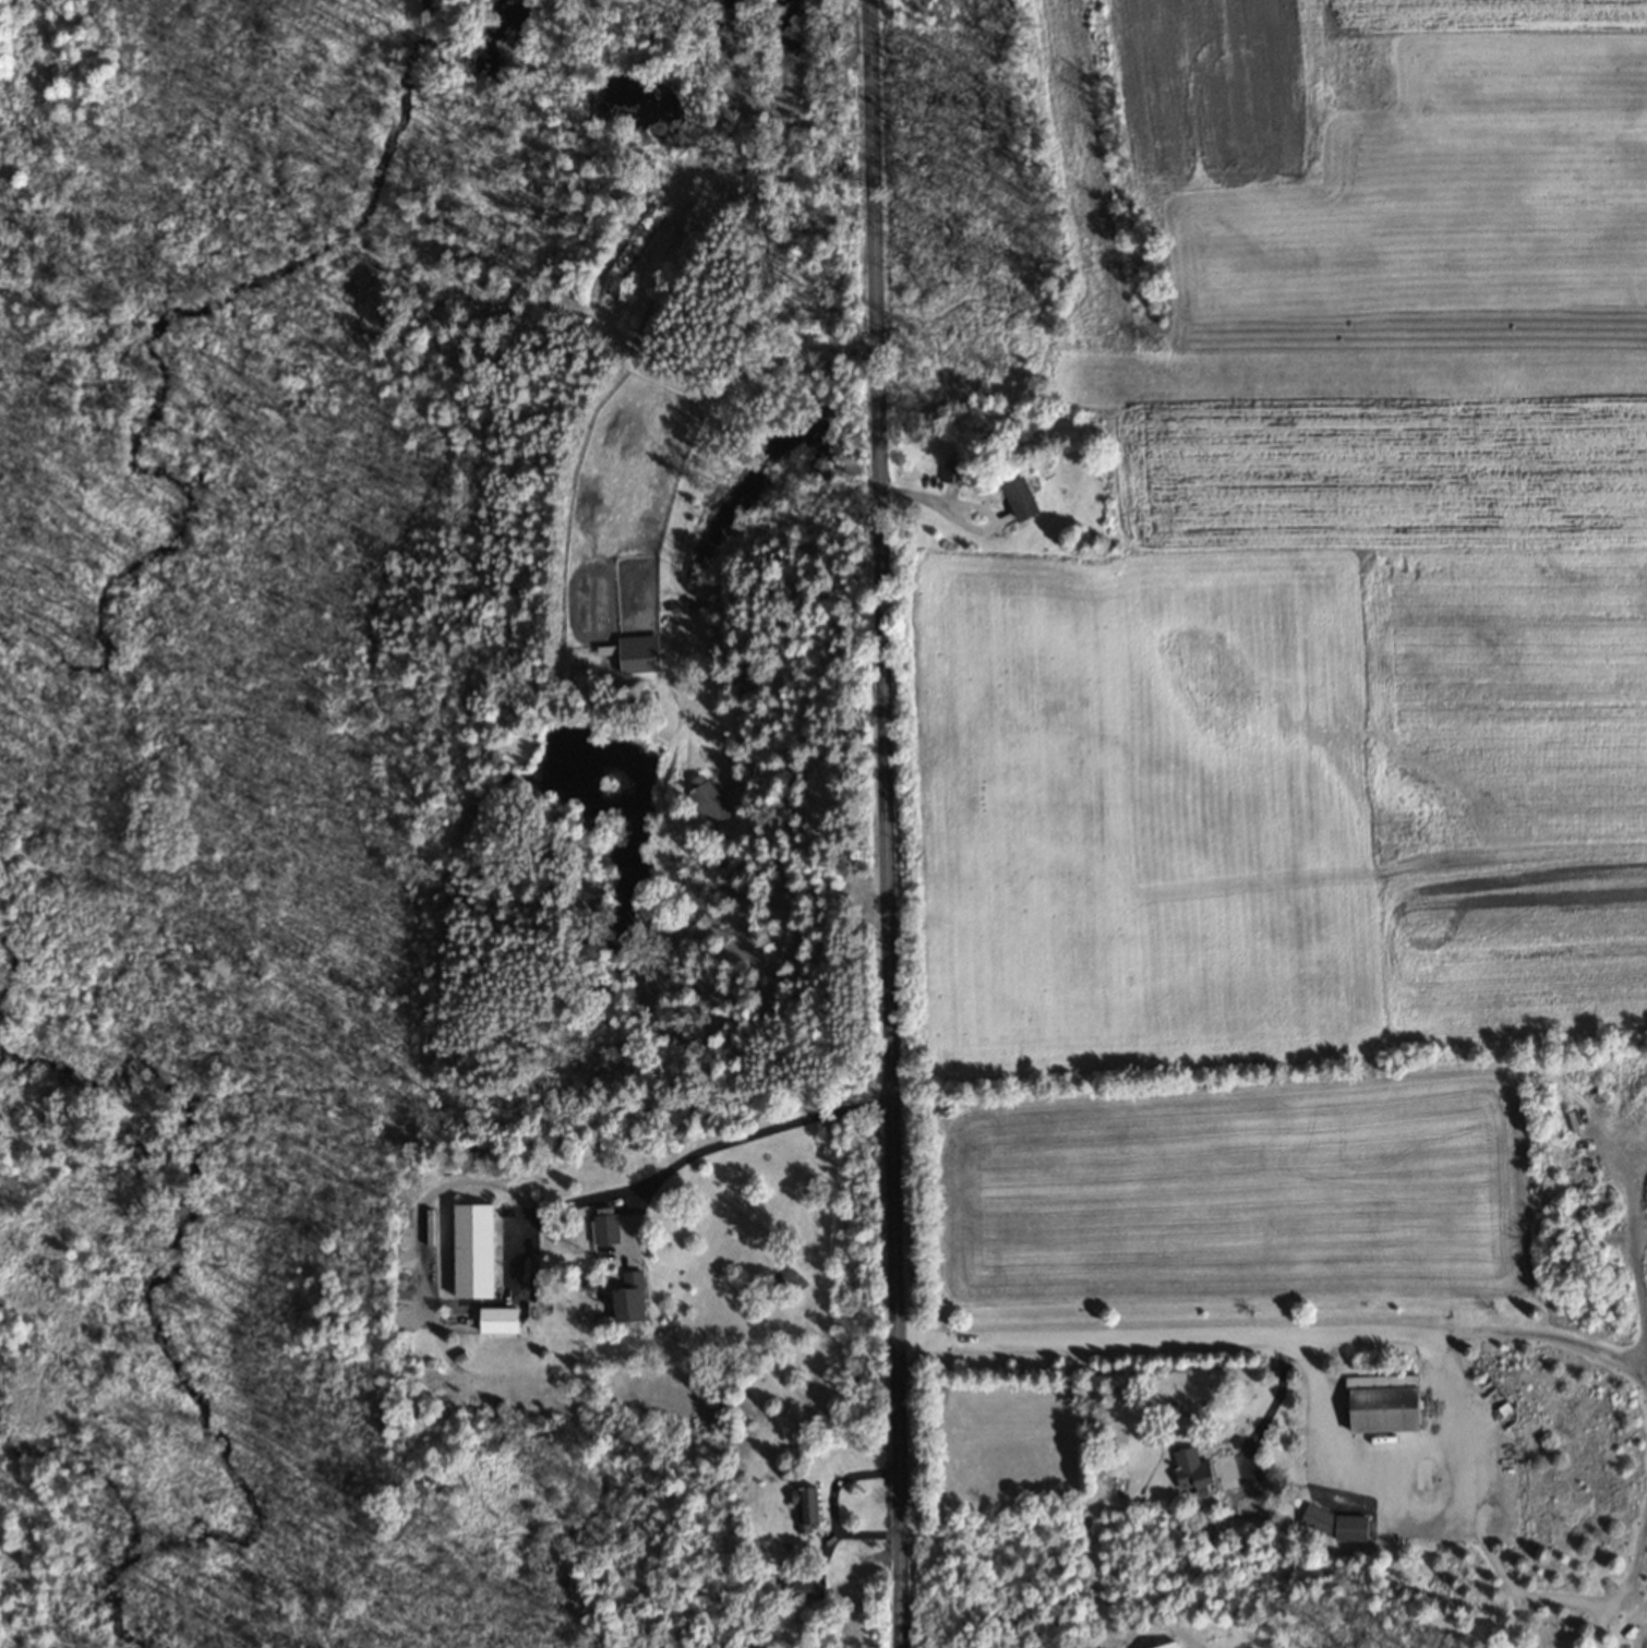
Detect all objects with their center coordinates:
road: (693, 465)
building: (1023, 502)
building: (711, 804)
road: (889, 823)
road: (680, 1166)
building: (604, 1230)
building: (471, 1251)
road: (1639, 1285)
building: (627, 1300)
road: (1282, 1338)
road: (1274, 1403)
building: (1382, 1404)
road: (1381, 1468)
building: (1192, 1472)
building: (803, 1508)
building: (1334, 1525)
building: (805, 1591)
road: (1524, 1598)
road: (1516, 1622)
road: (1597, 1627)
building: (1169, 1646)

